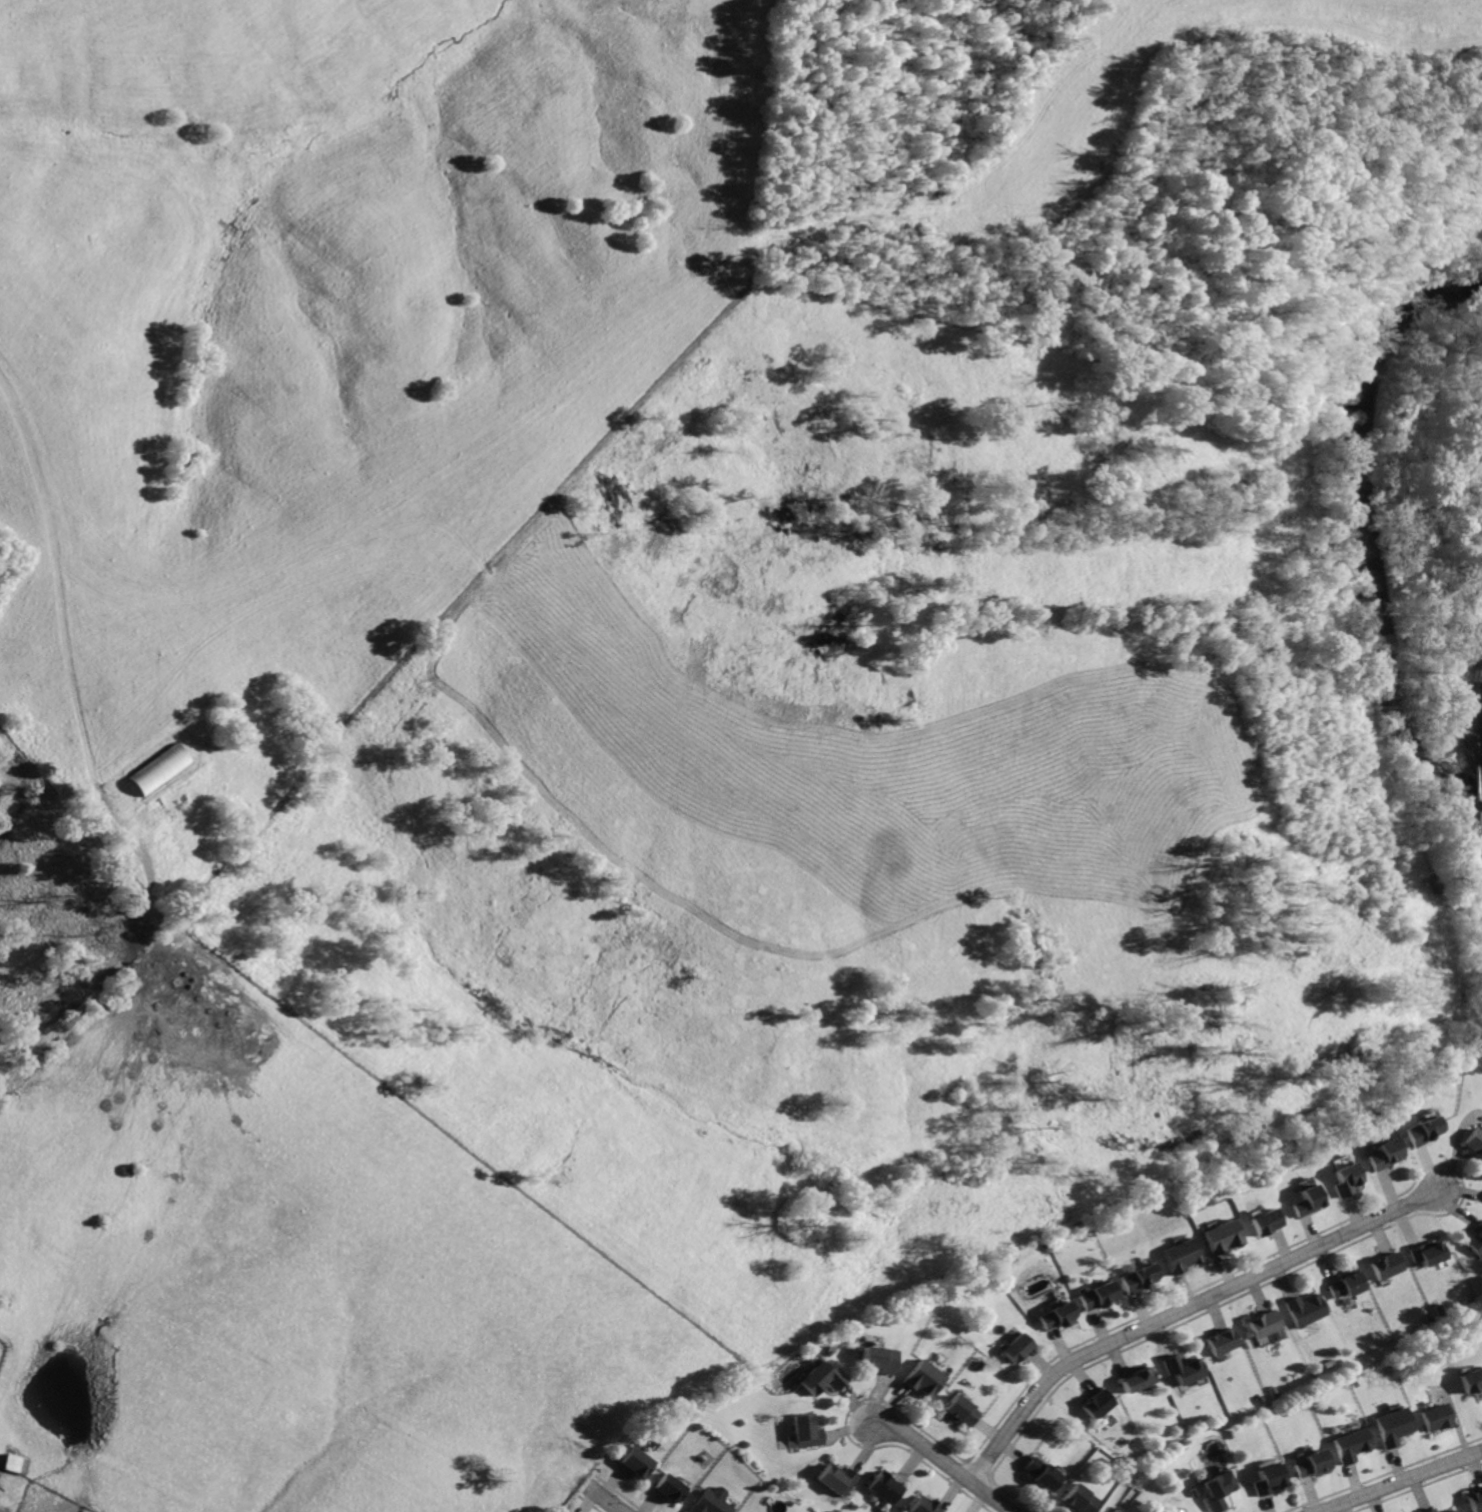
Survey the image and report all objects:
crop: (1053, 104)
road: (58, 623)
railway: (1479, 709)
crop: (594, 762)
building: (159, 768)
railway: (1477, 791)
building: (1421, 1130)
building: (1473, 1143)
building: (1384, 1155)
building: (1344, 1180)
building: (1304, 1202)
building: (1260, 1222)
building: (1217, 1236)
building: (1474, 1243)
building: (1426, 1253)
building: (1174, 1255)
building: (1386, 1265)
building: (1133, 1279)
building: (1345, 1286)
building: (1092, 1295)
road: (1181, 1308)
building: (1302, 1309)
building: (1050, 1316)
building: (1261, 1323)
building: (1219, 1342)
building: (1012, 1348)
building: (874, 1360)
building: (1177, 1369)
building: (820, 1378)
building: (918, 1379)
building: (1133, 1380)
building: (1470, 1380)
building: (1094, 1404)
building: (957, 1412)
building: (1432, 1417)
building: (1389, 1427)
building: (806, 1430)
building: (1347, 1446)
building: (637, 1461)
road: (941, 1462)
building: (16, 1463)
building: (1307, 1465)
building: (1039, 1474)
building: (838, 1479)
building: (1262, 1479)
road: (1399, 1481)
building: (672, 1487)
building: (884, 1488)
building: (1213, 1491)
building: (1474, 1499)
building: (1076, 1500)
road: (610, 1501)
building: (711, 1504)
building: (921, 1504)
building: (1429, 1510)
building: (1109, 1511)
building: (1449, 1511)

